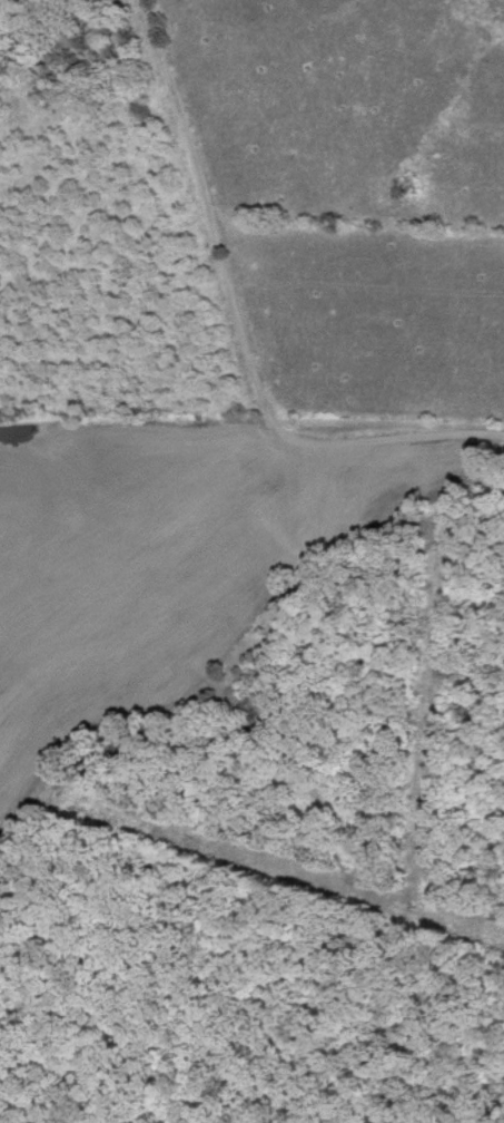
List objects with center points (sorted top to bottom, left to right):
road: (240, 325)

